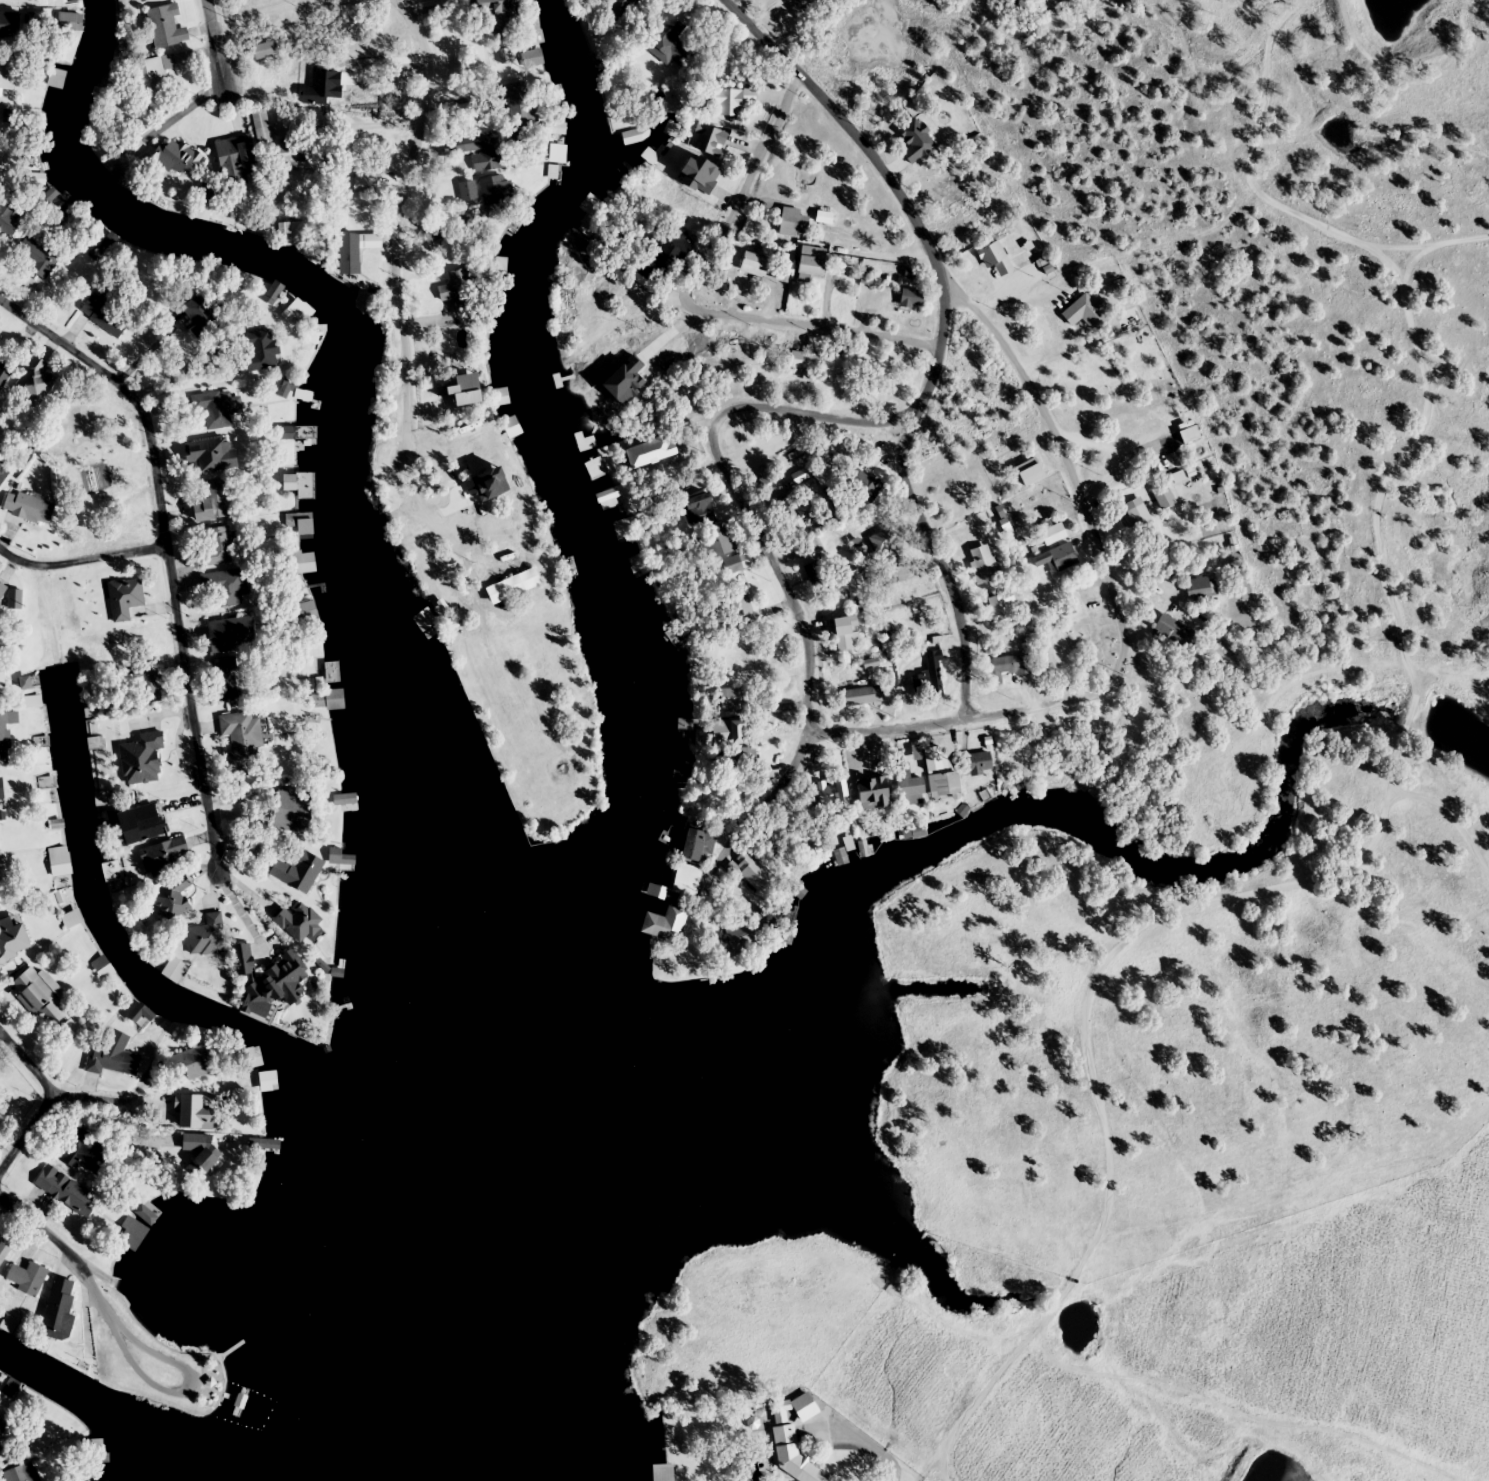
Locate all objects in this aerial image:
building: (805, 4)
building: (621, 6)
building: (501, 12)
building: (70, 23)
building: (9, 26)
building: (166, 27)
road: (213, 45)
building: (671, 48)
building: (266, 50)
building: (7, 75)
building: (52, 83)
building: (155, 83)
road: (1393, 90)
building: (728, 103)
building: (262, 127)
building: (636, 136)
building: (709, 140)
building: (917, 140)
building: (481, 150)
building: (297, 154)
building: (172, 158)
building: (236, 159)
building: (549, 169)
building: (701, 175)
building: (357, 184)
road: (744, 187)
building: (468, 191)
building: (495, 191)
building: (206, 202)
road: (394, 212)
building: (9, 219)
building: (794, 223)
building: (587, 225)
building: (290, 234)
building: (436, 240)
building: (356, 248)
building: (37, 257)
building: (996, 260)
building: (814, 262)
building: (756, 265)
building: (653, 271)
building: (457, 289)
building: (913, 299)
building: (365, 302)
road: (1058, 308)
building: (1090, 310)
building: (107, 312)
building: (203, 316)
building: (1133, 321)
road: (804, 328)
road: (939, 328)
building: (254, 351)
building: (818, 364)
building: (4, 375)
road: (178, 376)
building: (33, 384)
building: (289, 389)
building: (497, 402)
building: (216, 410)
building: (305, 433)
building: (297, 441)
building: (582, 445)
building: (211, 456)
road: (1122, 464)
building: (1167, 465)
road: (1065, 469)
building: (1, 470)
building: (771, 477)
building: (863, 482)
building: (299, 493)
building: (1164, 497)
building: (214, 501)
building: (606, 502)
building: (28, 508)
building: (697, 511)
building: (794, 512)
building: (1138, 516)
building: (301, 533)
building: (619, 533)
building: (1045, 533)
building: (716, 542)
building: (219, 546)
building: (808, 550)
building: (889, 550)
road: (164, 559)
building: (1058, 559)
road: (80, 561)
building: (733, 565)
building: (984, 565)
building: (307, 568)
building: (638, 569)
building: (816, 574)
building: (226, 586)
building: (514, 586)
building: (1202, 588)
building: (2, 590)
building: (124, 598)
building: (1001, 607)
building: (744, 608)
road: (794, 609)
building: (305, 612)
building: (427, 625)
building: (843, 634)
building: (1175, 634)
building: (232, 635)
building: (1021, 665)
building: (330, 676)
building: (930, 679)
building: (228, 680)
building: (140, 681)
building: (863, 696)
building: (734, 698)
building: (32, 702)
building: (331, 707)
road: (1038, 707)
building: (684, 732)
road: (884, 734)
building: (6, 735)
building: (241, 741)
building: (739, 758)
building: (142, 760)
building: (980, 764)
building: (678, 774)
building: (944, 785)
building: (44, 786)
building: (863, 786)
building: (908, 786)
building: (2, 789)
building: (829, 789)
building: (104, 800)
building: (344, 807)
building: (292, 811)
building: (1, 816)
building: (141, 825)
building: (54, 828)
building: (912, 837)
building: (696, 847)
building: (163, 859)
building: (839, 862)
building: (344, 866)
building: (56, 871)
building: (298, 872)
building: (751, 872)
building: (113, 879)
building: (687, 881)
building: (655, 896)
building: (800, 897)
building: (173, 900)
building: (69, 921)
building: (297, 922)
building: (133, 925)
building: (669, 932)
building: (207, 937)
building: (749, 937)
building: (3, 952)
building: (174, 970)
building: (102, 972)
building: (268, 981)
building: (40, 994)
building: (140, 1018)
building: (113, 1056)
building: (191, 1063)
road: (96, 1084)
building: (267, 1085)
road: (47, 1103)
building: (191, 1110)
building: (269, 1120)
building: (84, 1150)
building: (200, 1151)
building: (271, 1151)
building: (66, 1191)
building: (146, 1215)
building: (132, 1235)
road: (60, 1250)
building: (4, 1251)
building: (27, 1278)
building: (59, 1312)
road: (182, 1387)
building: (238, 1409)
building: (2, 1426)
building: (794, 1439)
building: (0, 1448)
building: (21, 1473)
building: (660, 1475)
road: (893, 1479)

